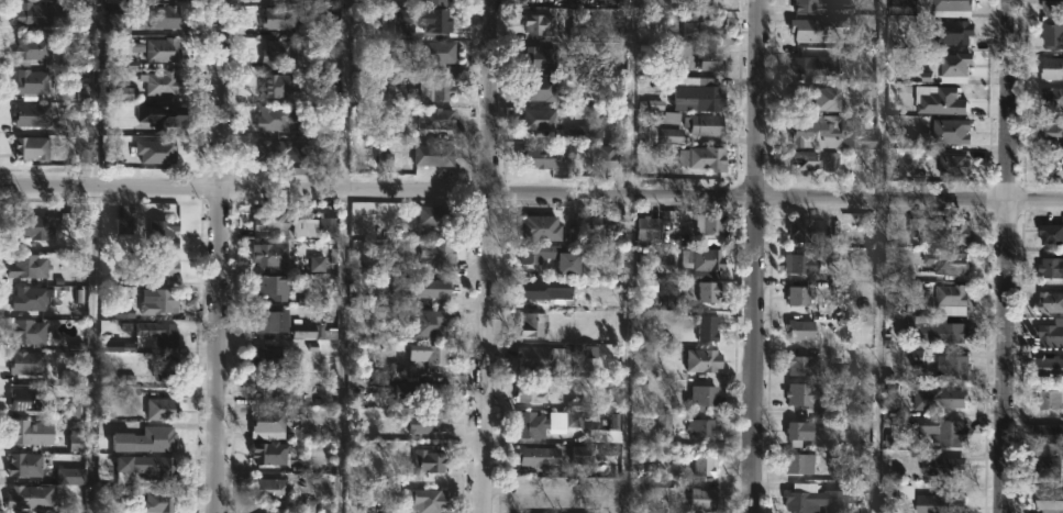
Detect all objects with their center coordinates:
building: (439, 1)
building: (704, 2)
building: (1051, 5)
building: (820, 7)
building: (930, 8)
building: (35, 13)
building: (165, 15)
building: (281, 16)
building: (439, 20)
building: (121, 23)
building: (535, 24)
building: (697, 26)
building: (806, 27)
building: (1051, 30)
building: (952, 31)
building: (165, 48)
building: (283, 49)
building: (44, 52)
building: (435, 52)
building: (536, 57)
building: (709, 60)
building: (806, 65)
building: (953, 66)
building: (1051, 68)
building: (33, 81)
building: (162, 82)
building: (274, 86)
building: (536, 88)
building: (441, 89)
building: (695, 91)
building: (1050, 100)
building: (32, 114)
building: (165, 114)
building: (275, 118)
building: (439, 119)
building: (535, 119)
building: (701, 124)
building: (828, 131)
building: (949, 131)
building: (662, 134)
building: (1052, 136)
building: (33, 147)
building: (163, 149)
building: (283, 152)
building: (436, 153)
building: (545, 157)
building: (702, 157)
building: (608, 158)
building: (801, 158)
building: (832, 163)
building: (942, 163)
road: (531, 194)
building: (439, 215)
building: (275, 220)
building: (329, 223)
building: (708, 223)
building: (35, 226)
building: (538, 227)
building: (599, 227)
building: (646, 227)
building: (806, 230)
building: (934, 230)
building: (1050, 233)
building: (165, 234)
building: (273, 254)
building: (441, 255)
road: (96, 256)
road: (220, 256)
road: (345, 256)
road: (487, 256)
road: (627, 256)
road: (756, 256)
road: (881, 256)
road: (1005, 256)
building: (545, 257)
building: (704, 258)
building: (799, 263)
building: (948, 263)
building: (30, 266)
building: (168, 268)
building: (1050, 268)
building: (274, 287)
building: (543, 289)
building: (706, 291)
building: (423, 292)
building: (949, 294)
building: (797, 295)
building: (33, 298)
building: (671, 298)
building: (166, 301)
building: (1049, 302)
building: (275, 321)
building: (430, 323)
building: (528, 323)
building: (704, 327)
building: (798, 330)
building: (929, 330)
building: (30, 331)
building: (309, 331)
building: (162, 333)
building: (1051, 333)
building: (432, 354)
building: (272, 357)
building: (534, 358)
building: (700, 359)
building: (30, 363)
building: (801, 365)
building: (951, 365)
building: (1048, 366)
building: (164, 367)
building: (70, 377)
building: (276, 388)
building: (406, 389)
building: (436, 391)
building: (528, 392)
building: (800, 394)
building: (698, 398)
building: (949, 398)
building: (29, 399)
building: (1047, 399)
building: (164, 409)
building: (269, 421)
building: (566, 421)
building: (431, 423)
building: (535, 424)
building: (922, 425)
building: (699, 428)
building: (31, 432)
building: (796, 432)
building: (950, 433)
building: (1049, 433)
building: (78, 438)
building: (146, 439)
building: (272, 453)
building: (538, 456)
building: (705, 459)
building: (838, 460)
building: (432, 461)
building: (796, 462)
building: (27, 464)
building: (939, 466)
building: (1047, 466)
building: (144, 467)
building: (73, 476)
building: (270, 491)
building: (897, 492)
building: (32, 497)
building: (701, 499)
building: (817, 499)
building: (427, 500)
building: (159, 501)
building: (534, 501)
building: (1049, 501)
building: (938, 504)

